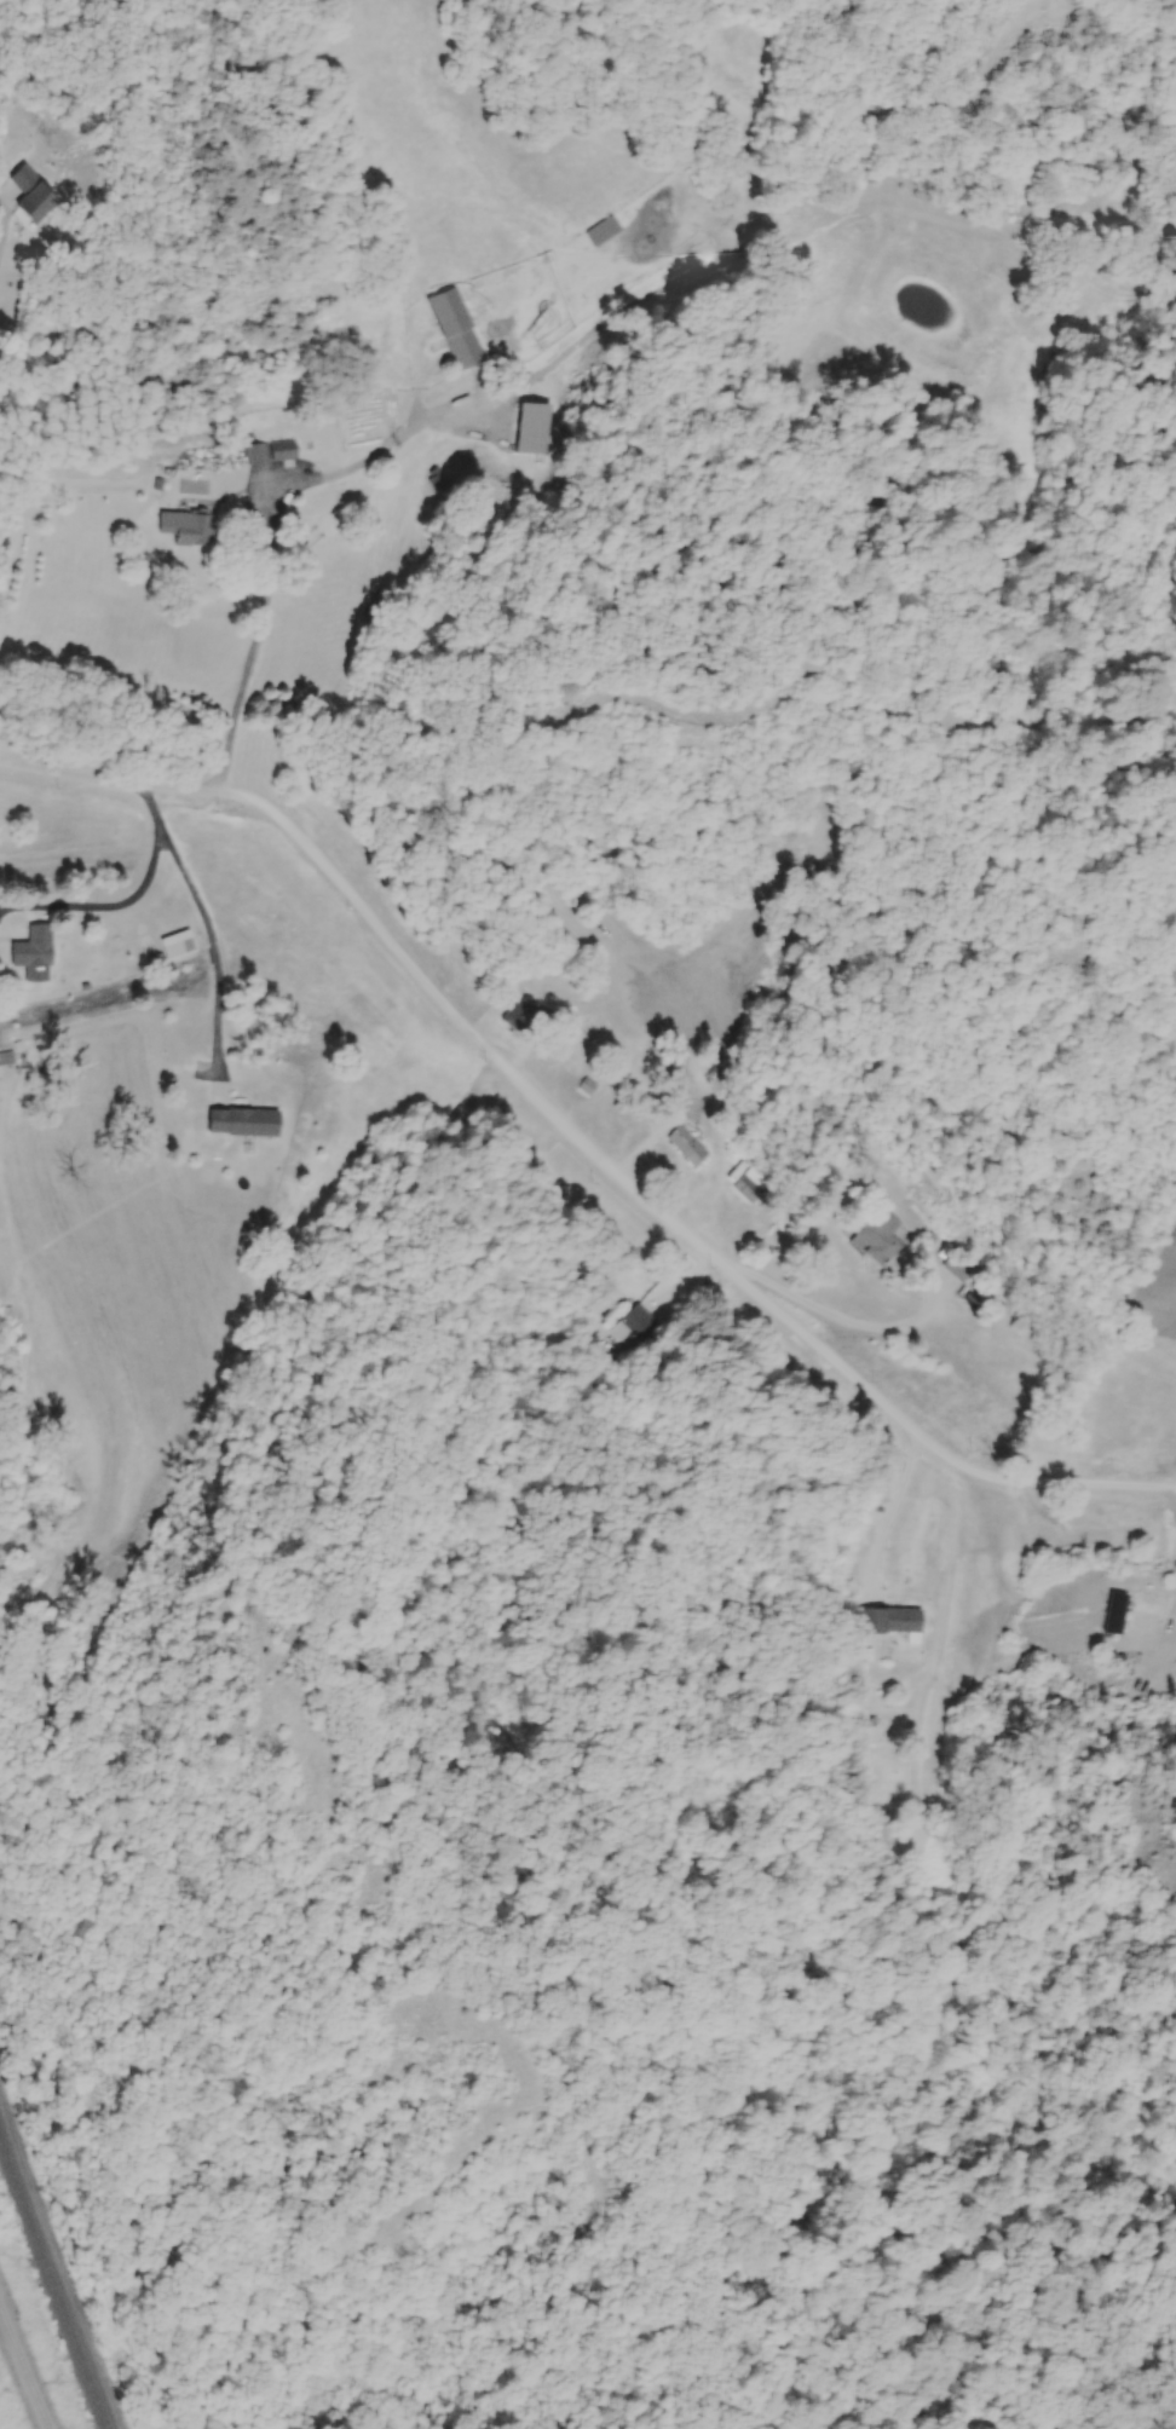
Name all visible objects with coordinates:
road: (1, 240)
road: (272, 513)
road: (126, 898)
road: (212, 944)
road: (575, 1137)
road: (841, 1319)
road: (892, 1506)
railway: (53, 2280)
railway: (23, 2371)

